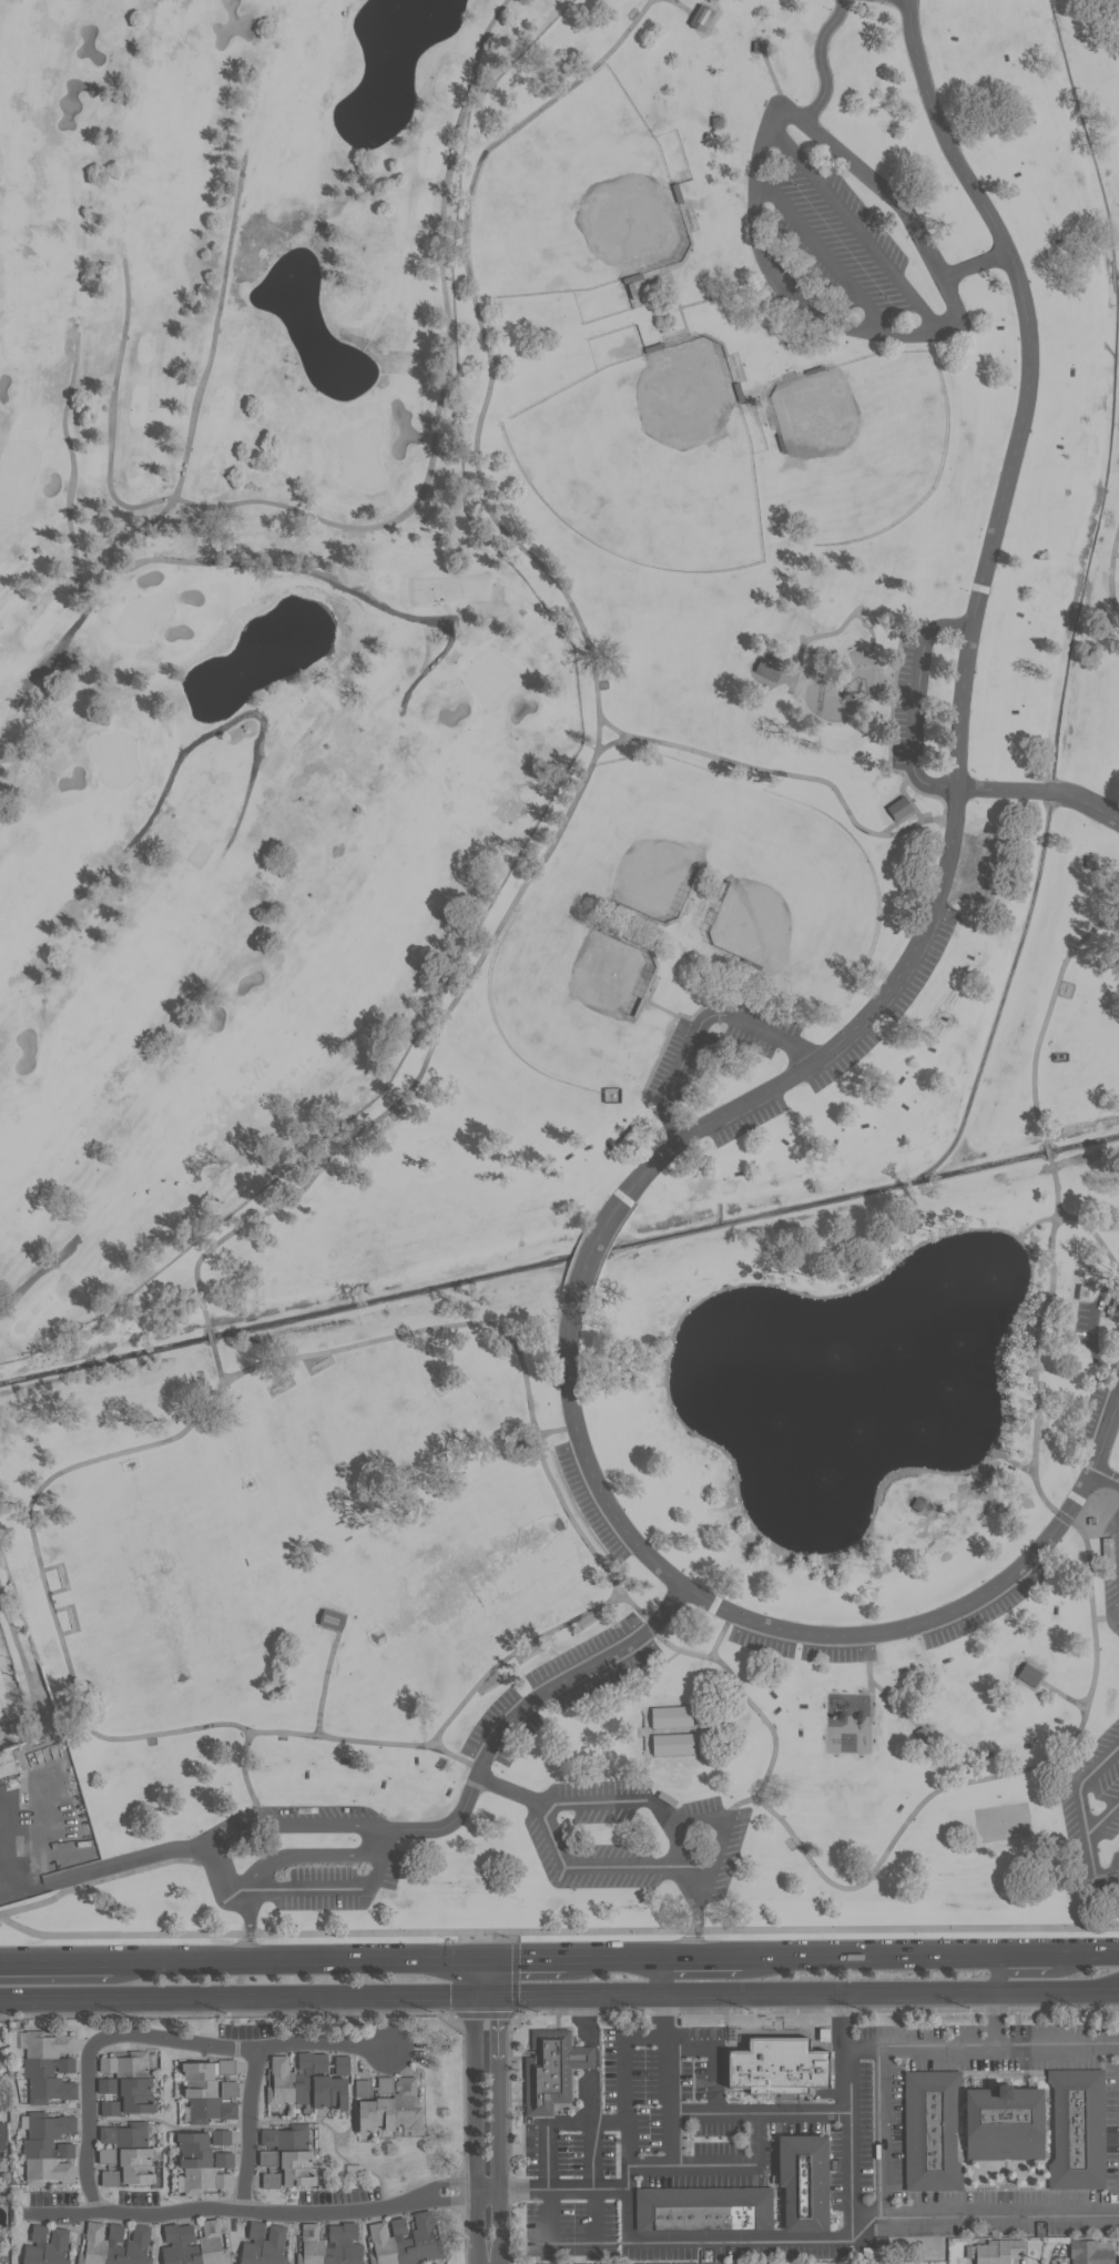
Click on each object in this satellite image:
road: (909, 0)
building: (705, 18)
road: (883, 192)
park: (589, 197)
road: (852, 233)
parking lot: (833, 247)
road: (818, 254)
road: (765, 273)
road: (215, 329)
park: (854, 446)
park: (643, 466)
road: (71, 470)
road: (401, 517)
road: (267, 566)
road: (1110, 577)
park: (236, 608)
building: (766, 670)
road: (965, 674)
road: (596, 680)
parking lot: (907, 705)
road: (918, 707)
road: (228, 720)
road: (792, 776)
road: (1000, 790)
road: (1054, 792)
road: (1090, 806)
building: (898, 812)
park: (641, 855)
park: (786, 908)
road: (1112, 926)
parking lot: (920, 962)
park: (559, 973)
park: (584, 996)
road: (1050, 1011)
road: (702, 1026)
parking lot: (688, 1057)
parking lot: (840, 1062)
parking lot: (746, 1120)
road: (1048, 1155)
road: (1057, 1190)
road: (1096, 1235)
road: (43, 1270)
road: (582, 1272)
building: (1085, 1293)
building: (1115, 1309)
parking lot: (1084, 1326)
road: (1093, 1330)
road: (210, 1339)
road: (217, 1370)
road: (208, 1403)
parking lot: (1097, 1420)
road: (1112, 1424)
road: (555, 1432)
park: (353, 1440)
road: (1106, 1480)
parking lot: (592, 1504)
park: (154, 1574)
parking lot: (1110, 1578)
park: (467, 1582)
parking lot: (989, 1605)
building: (332, 1624)
road: (806, 1634)
road: (723, 1637)
parking lot: (802, 1644)
road: (668, 1659)
parking lot: (593, 1665)
building: (1030, 1676)
park: (20, 1679)
road: (325, 1686)
road: (1062, 1696)
building: (1110, 1702)
road: (521, 1710)
building: (671, 1730)
parking lot: (501, 1732)
building: (9, 1766)
road: (1011, 1776)
road: (245, 1779)
road: (737, 1809)
road: (1078, 1816)
parking lot: (1091, 1817)
road: (665, 1819)
park: (1000, 1821)
road: (1100, 1821)
road: (295, 1826)
road: (3, 1840)
parking lot: (548, 1846)
road: (677, 1847)
road: (297, 1859)
parking lot: (304, 1864)
road: (109, 1867)
road: (563, 1867)
road: (108, 1879)
road: (2, 1890)
road: (307, 1892)
road: (699, 1921)
road: (250, 1928)
road: (556, 1931)
road: (1085, 1957)
road: (869, 1958)
road: (1024, 1958)
road: (681, 1959)
road: (721, 1959)
road: (527, 1960)
road: (613, 1960)
road: (299, 1961)
traffic signals: (488, 1961)
road: (55, 1964)
road: (997, 1974)
road: (481, 1977)
road: (494, 1977)
road: (662, 1977)
road: (1058, 1992)
traffic signals: (475, 1993)
road: (487, 1993)
traffic signals: (499, 1993)
road: (580, 1993)
road: (830, 1993)
road: (237, 1996)
road: (662, 2012)
road: (583, 2020)
road: (998, 2022)
road: (662, 2034)
road: (714, 2045)
road: (245, 2050)
road: (1059, 2051)
road: (846, 2053)
road: (922, 2053)
road: (589, 2058)
building: (124, 2062)
building: (342, 2063)
building: (777, 2064)
building: (49, 2067)
building: (551, 2073)
building: (304, 2083)
building: (106, 2085)
building: (210, 2090)
building: (136, 2095)
building: (388, 2104)
building: (110, 2108)
road: (719, 2113)
road: (90, 2123)
road: (555, 2123)
road: (499, 2128)
road: (475, 2129)
road: (589, 2129)
building: (1004, 2129)
road: (250, 2131)
building: (1079, 2132)
road: (885, 2134)
building: (2, 2135)
building: (930, 2135)
building: (221, 2136)
building: (49, 2149)
building: (130, 2151)
building: (104, 2155)
building: (286, 2155)
building: (223, 2160)
road: (716, 2164)
building: (199, 2165)
building: (109, 2177)
building: (808, 2183)
road: (563, 2189)
road: (253, 2211)
building: (706, 2211)
road: (934, 2213)
building: (177, 2234)
building: (405, 2240)
road: (633, 2241)
building: (114, 2244)
building: (263, 2244)
building: (45, 2245)
building: (329, 2245)
building: (997, 2251)
building: (1089, 2253)
park: (927, 2263)

